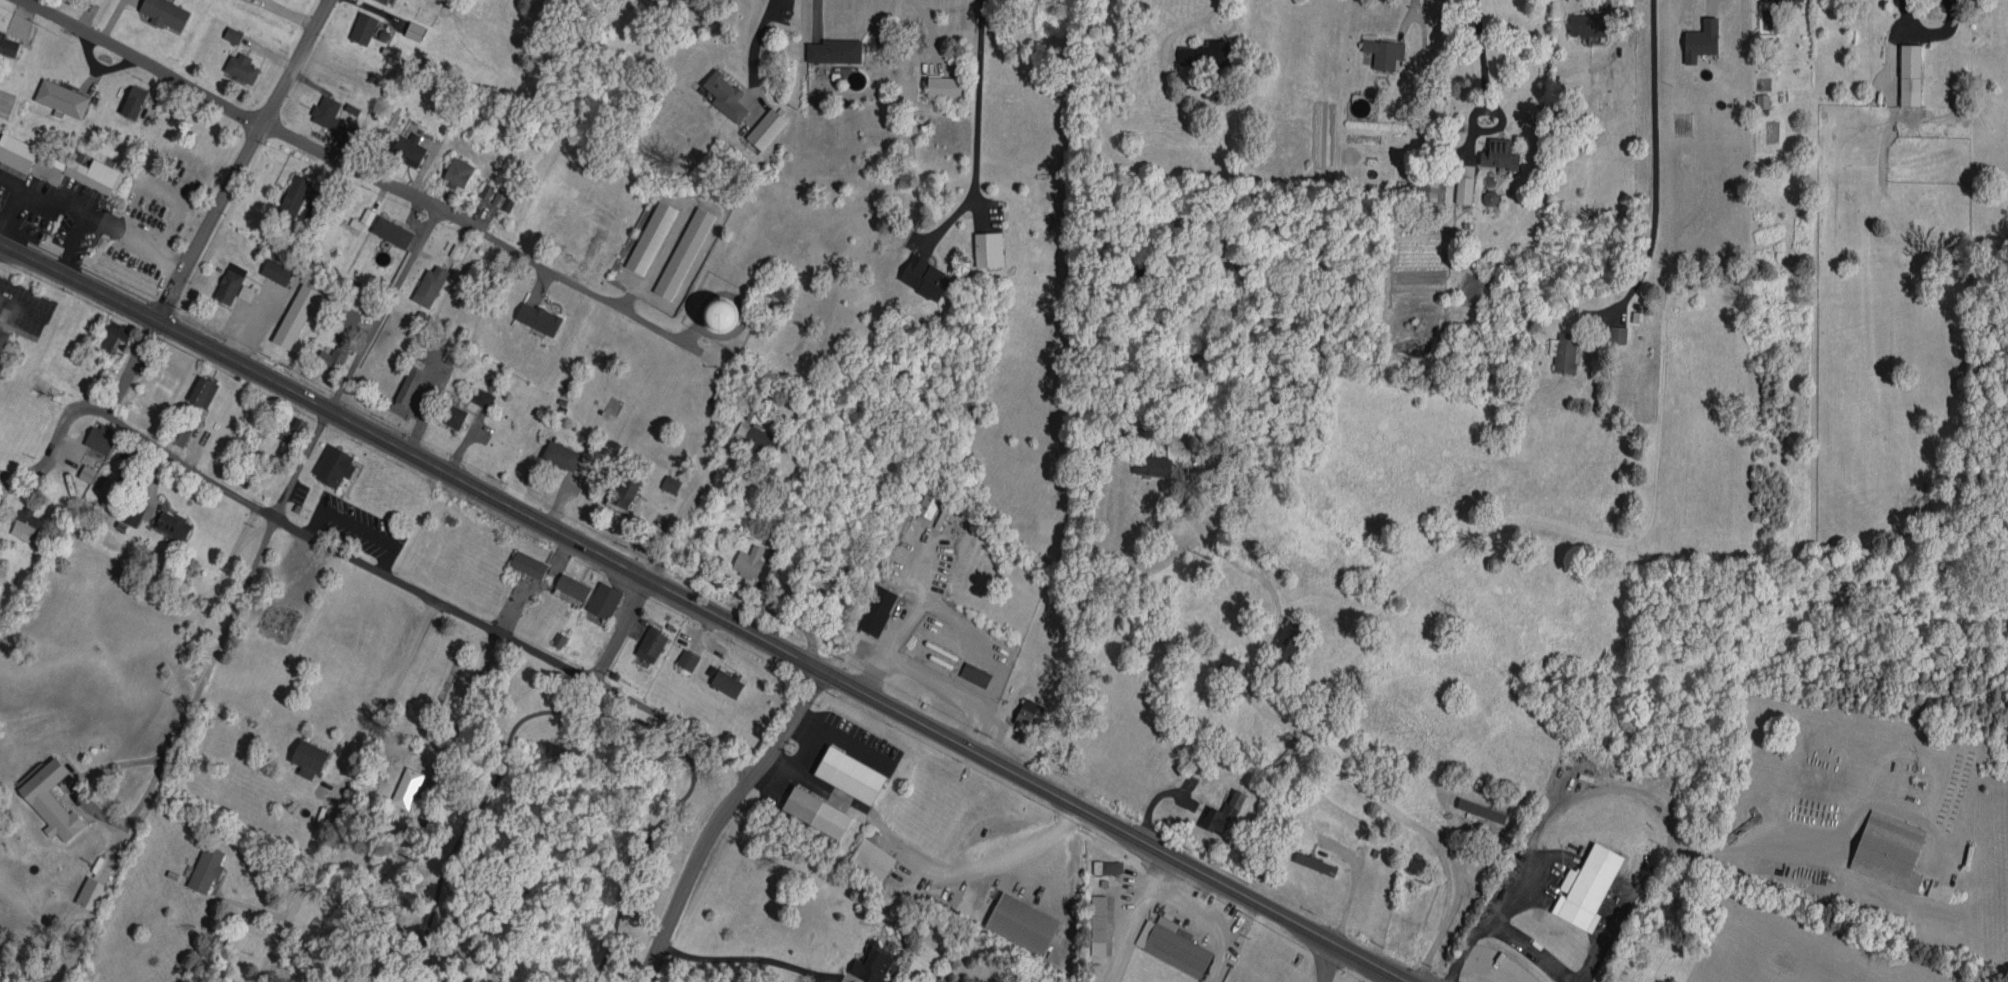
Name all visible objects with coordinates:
building: (385, 0)
road: (1705, 2)
road: (1410, 8)
building: (161, 11)
road: (814, 16)
building: (1584, 21)
building: (358, 24)
building: (409, 27)
road: (1189, 27)
building: (227, 31)
building: (1697, 36)
road: (755, 38)
building: (6, 42)
building: (830, 47)
building: (1379, 49)
building: (1202, 50)
road: (1480, 61)
building: (236, 64)
building: (1906, 71)
building: (942, 83)
road: (1111, 91)
building: (720, 92)
building: (56, 94)
building: (128, 98)
building: (1758, 100)
building: (326, 114)
building: (760, 125)
road: (975, 126)
road: (270, 127)
building: (405, 145)
building: (1495, 151)
road: (1653, 158)
building: (53, 161)
building: (452, 169)
building: (1460, 180)
building: (289, 193)
road: (45, 200)
road: (214, 206)
building: (363, 213)
building: (387, 228)
building: (646, 234)
road: (68, 240)
road: (143, 244)
building: (983, 245)
building: (678, 249)
building: (271, 268)
building: (919, 273)
building: (225, 280)
building: (424, 282)
building: (241, 289)
road: (608, 303)
building: (290, 312)
building: (345, 314)
building: (533, 315)
building: (0, 330)
building: (1613, 331)
building: (107, 332)
building: (1559, 348)
building: (326, 356)
road: (357, 362)
building: (402, 384)
building: (197, 388)
building: (478, 395)
building: (446, 412)
building: (750, 429)
building: (285, 434)
building: (94, 435)
building: (564, 451)
building: (329, 462)
building: (1147, 462)
building: (81, 470)
building: (665, 480)
building: (616, 492)
building: (923, 503)
road: (686, 504)
building: (133, 508)
building: (20, 520)
building: (167, 522)
building: (744, 558)
building: (524, 561)
road: (369, 565)
building: (566, 584)
building: (598, 597)
building: (872, 607)
road: (707, 608)
road: (624, 629)
building: (553, 637)
building: (1284, 638)
building: (646, 641)
building: (682, 656)
building: (1223, 662)
building: (970, 671)
road: (210, 678)
building: (722, 679)
road: (469, 709)
building: (1021, 710)
road: (568, 712)
road: (1307, 737)
building: (303, 755)
building: (1190, 766)
building: (402, 785)
road: (333, 786)
road: (322, 789)
building: (45, 798)
building: (811, 809)
building: (1218, 811)
road: (723, 819)
road: (1537, 822)
building: (409, 830)
park: (548, 833)
building: (1885, 847)
building: (867, 856)
road: (919, 857)
road: (1672, 859)
building: (1102, 864)
building: (1313, 864)
building: (201, 866)
road: (1051, 870)
building: (1587, 886)
building: (1673, 887)
building: (1935, 888)
building: (85, 890)
road: (249, 904)
building: (1017, 920)
building: (1094, 922)
building: (1168, 943)
road: (1528, 948)
road: (1327, 960)
road: (744, 962)
building: (868, 963)
road: (265, 966)

